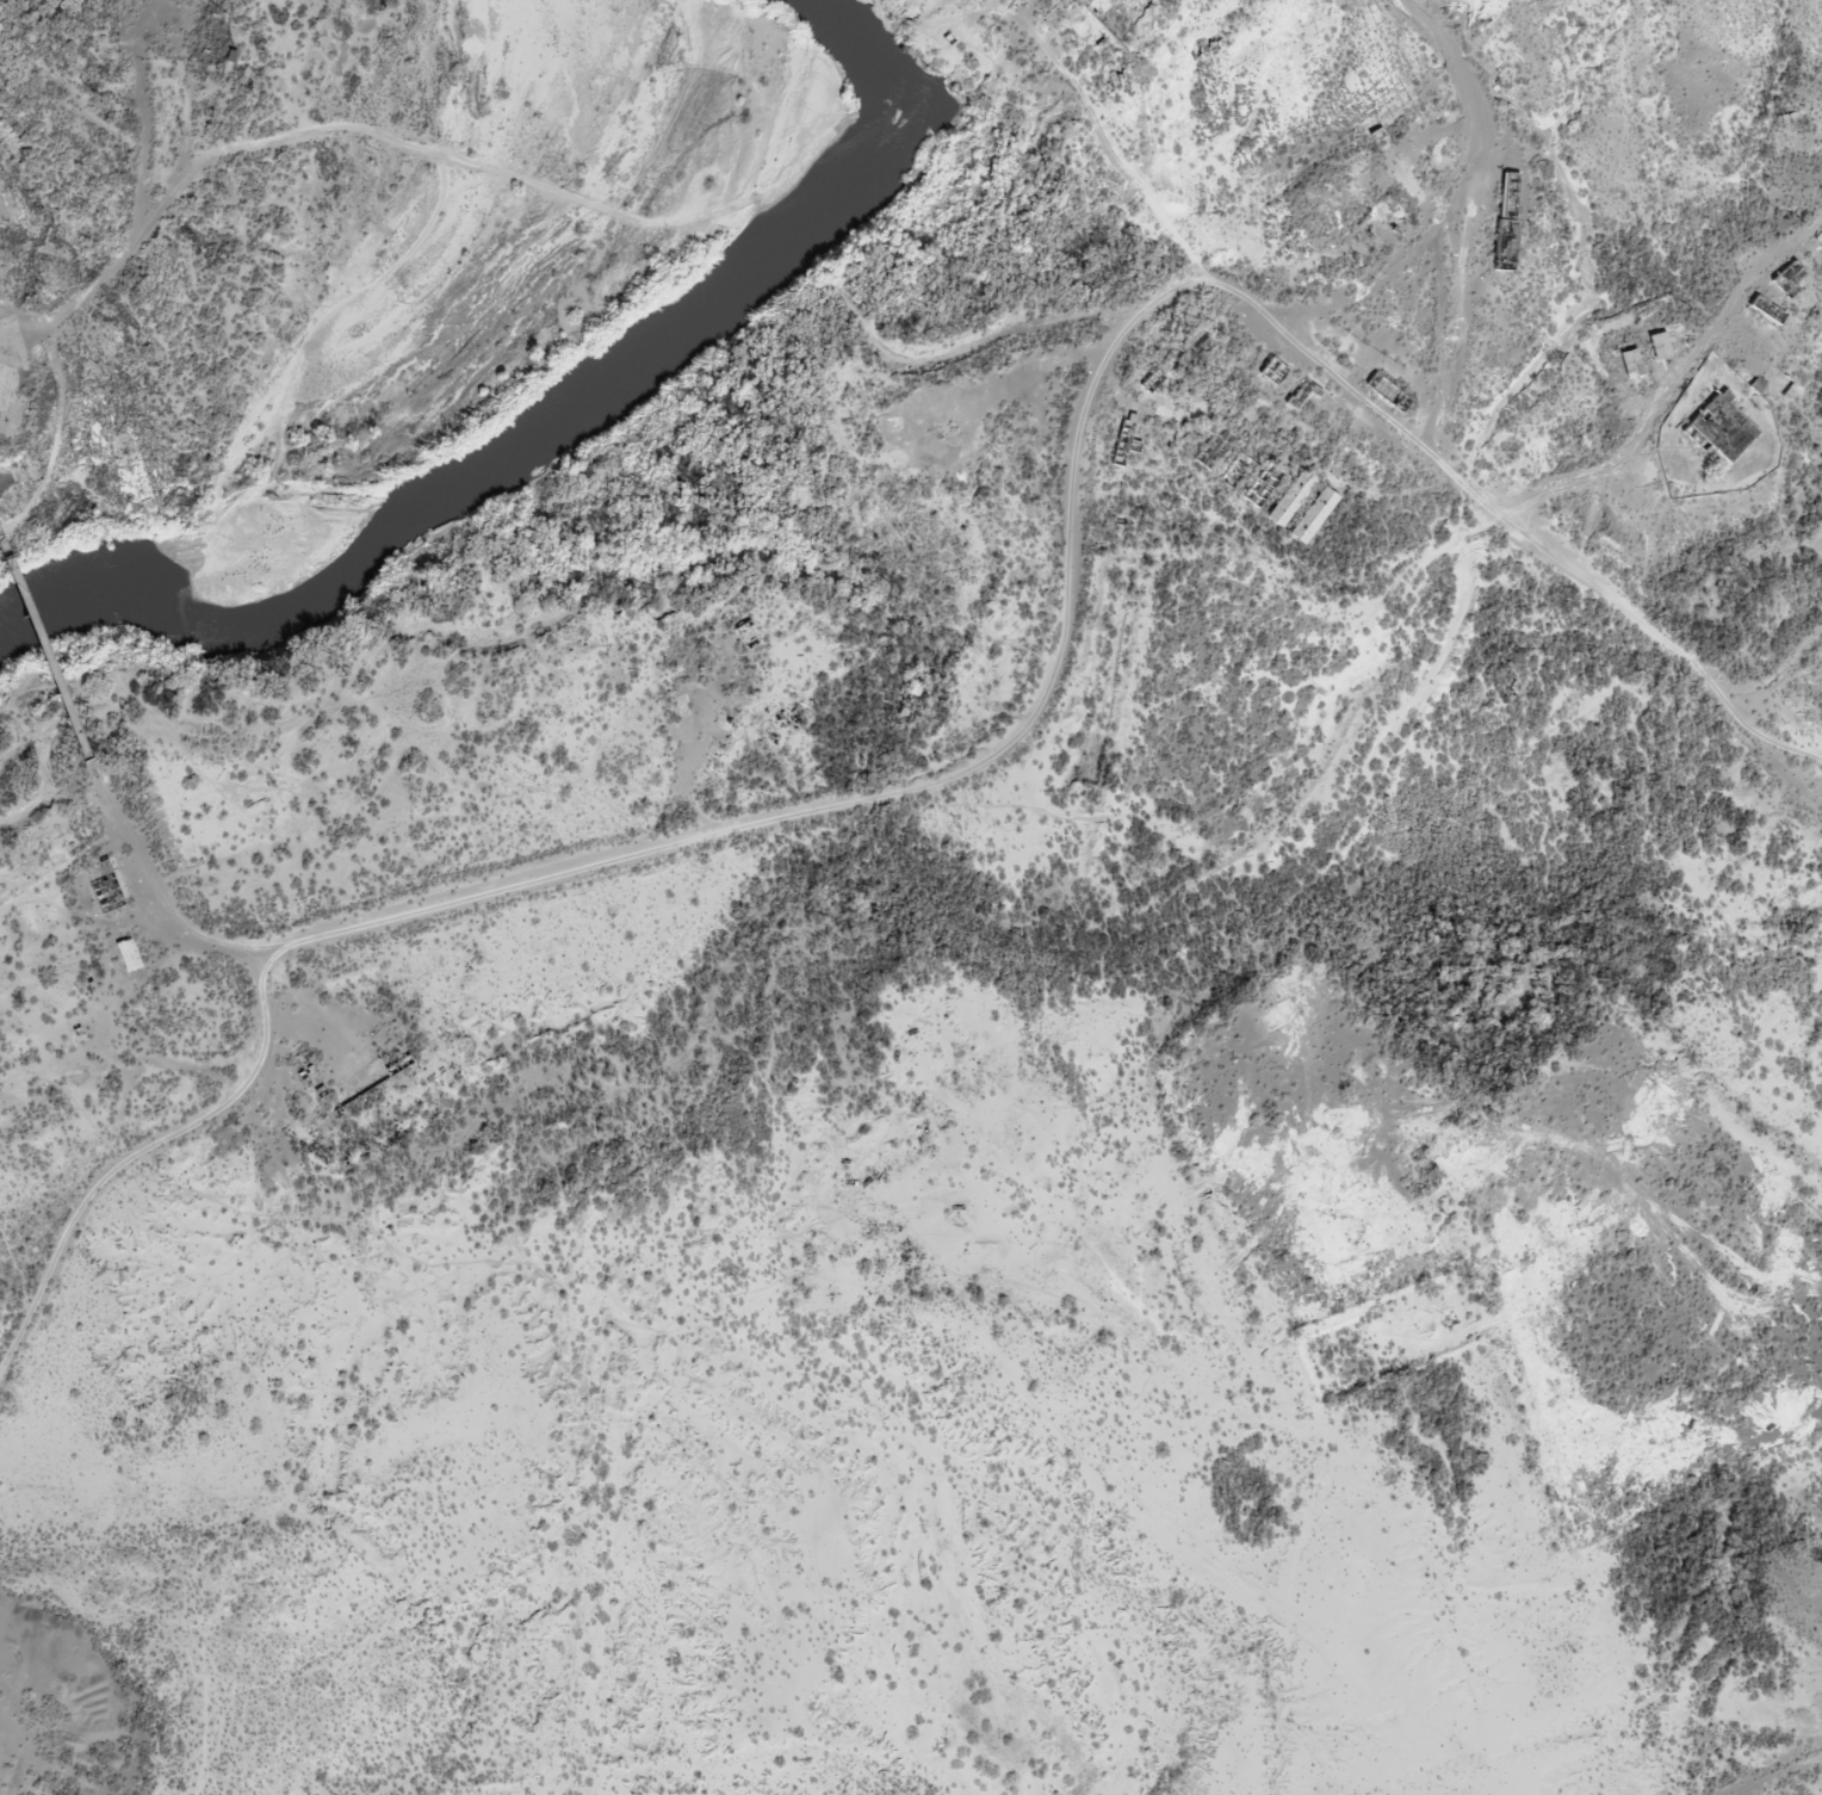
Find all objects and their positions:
road: (1470, 97)
road: (1105, 137)
road: (240, 157)
building: (1506, 216)
road: (1378, 268)
building: (1762, 308)
road: (1463, 329)
building: (1657, 346)
building: (1629, 363)
road: (1677, 388)
river: (575, 400)
building: (1722, 428)
building: (1234, 471)
building: (1288, 499)
building: (1310, 515)
road: (1536, 539)
road: (11, 576)
road: (1780, 669)
road: (55, 680)
road: (792, 821)
building: (134, 951)
road: (1787, 1781)

